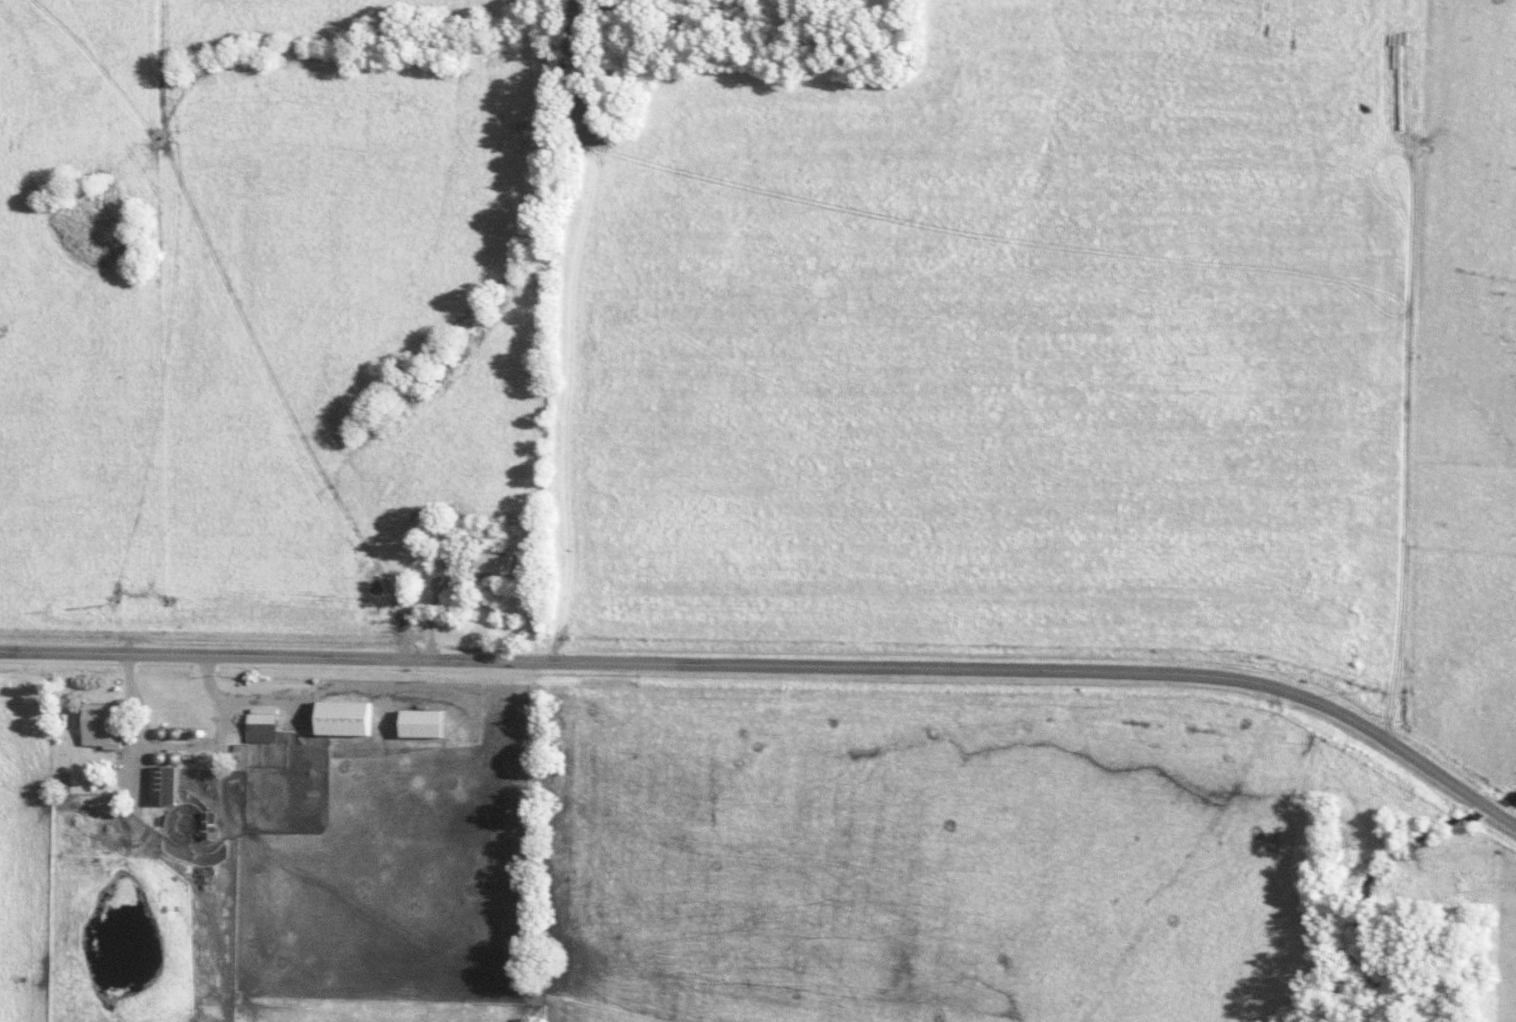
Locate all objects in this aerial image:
building: (489, 563)
road: (429, 603)
road: (777, 665)
building: (339, 718)
building: (93, 724)
building: (257, 727)
road: (174, 746)
building: (158, 785)
building: (204, 825)

